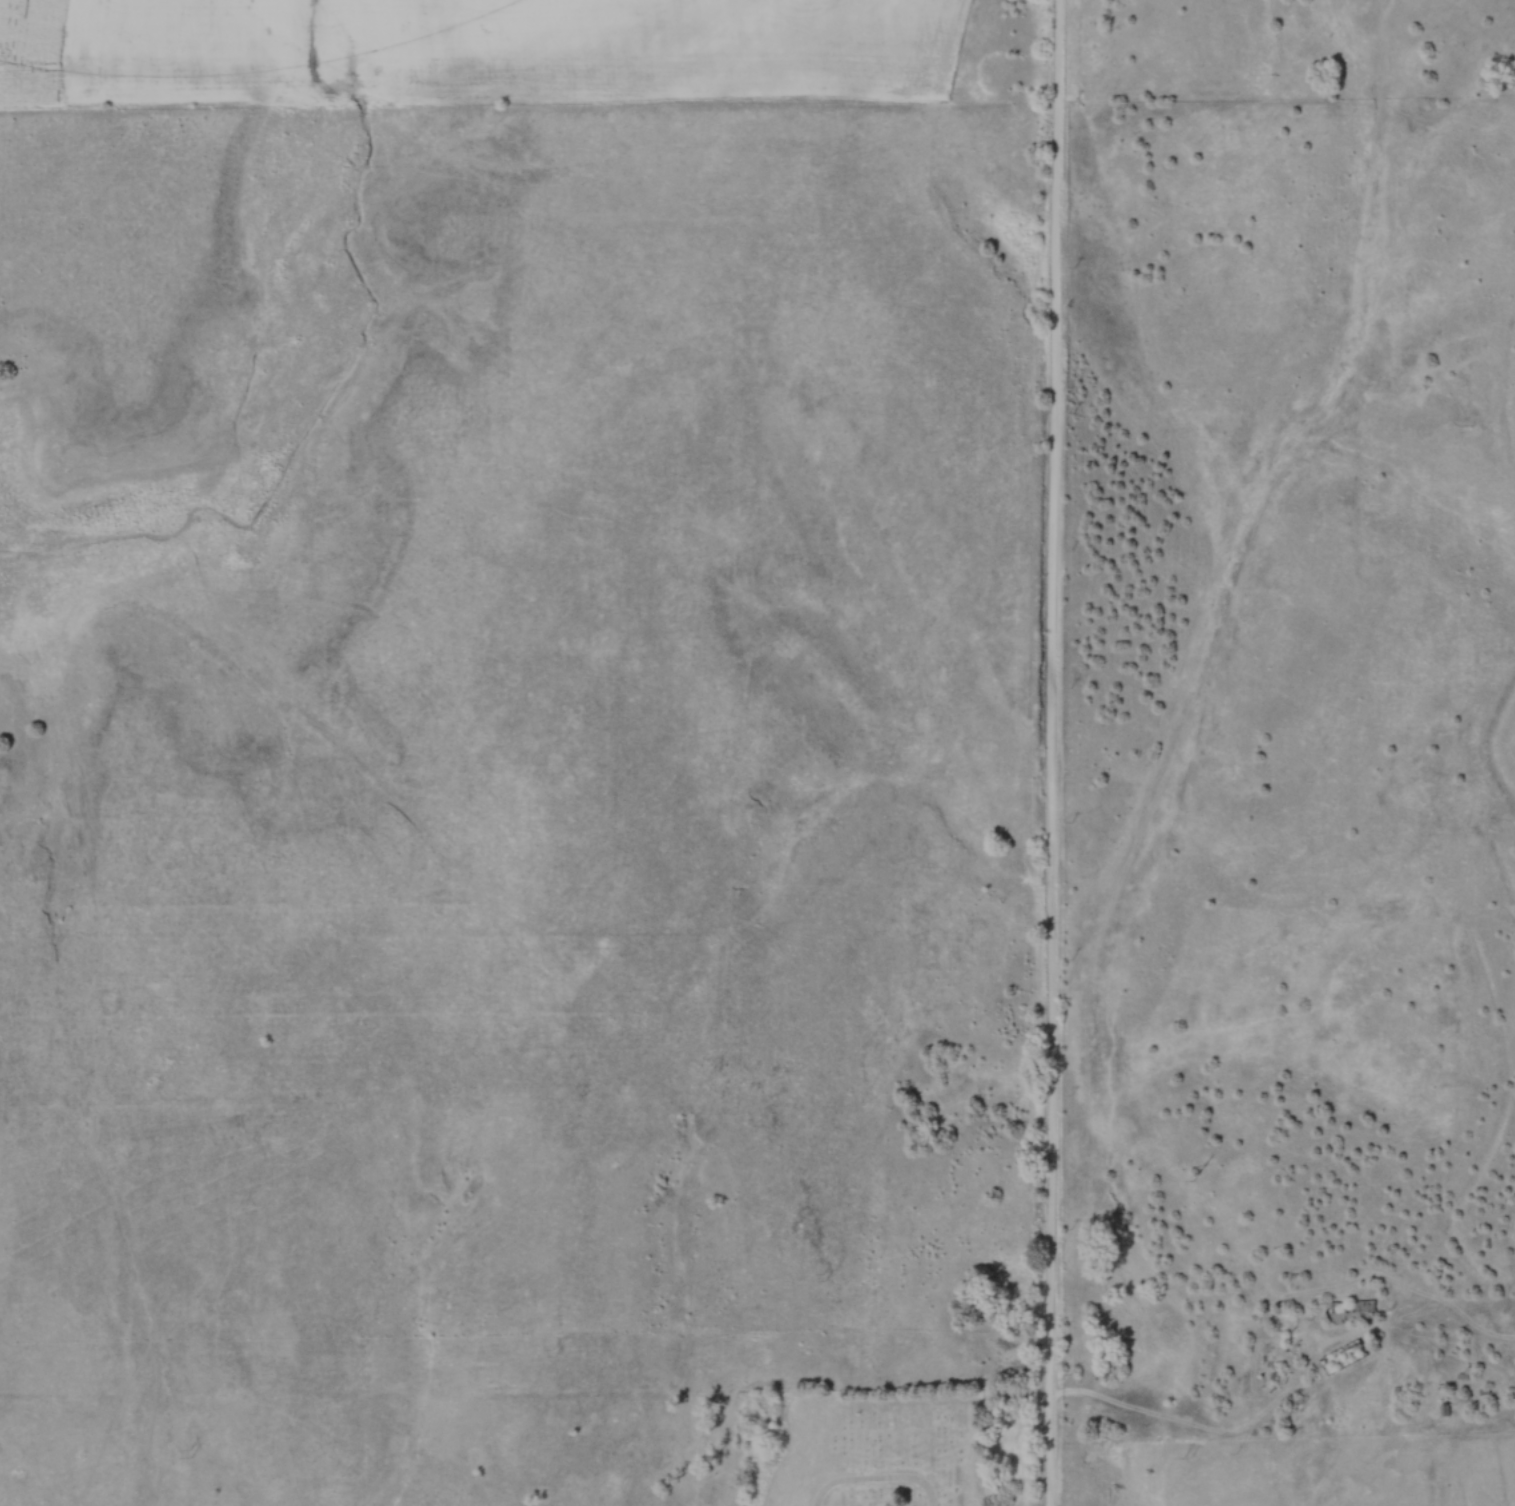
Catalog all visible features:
road: (1054, 753)
building: (1349, 1311)
road: (1288, 1390)
road: (876, 1475)

